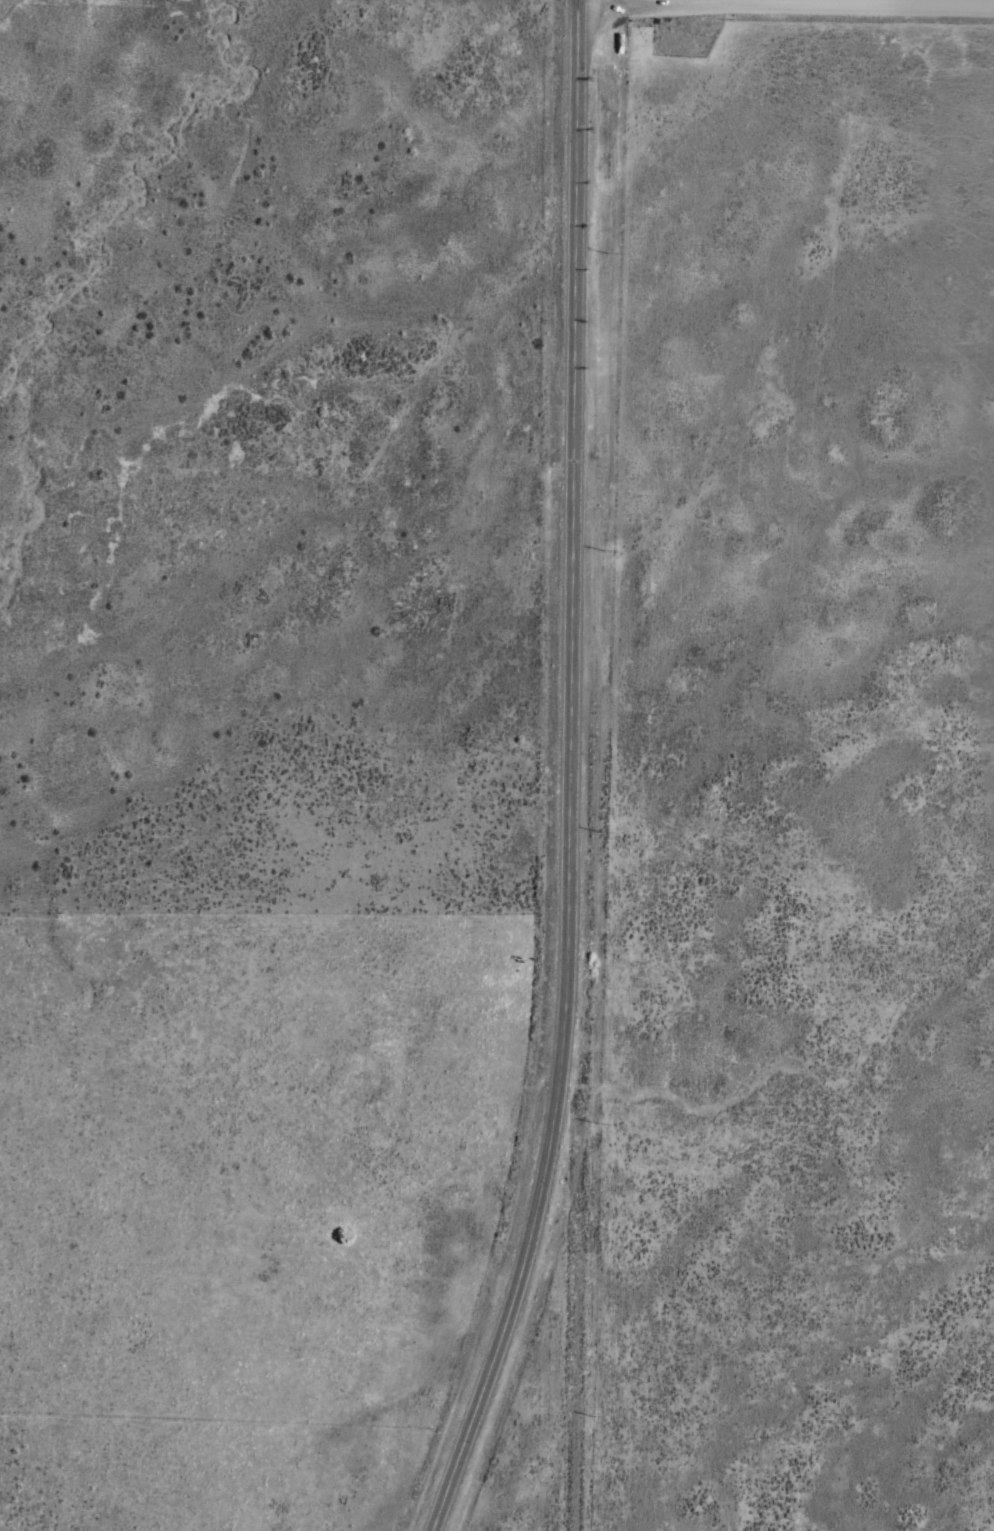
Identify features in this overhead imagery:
road: (783, 39)
crop: (497, 765)
road: (566, 773)

